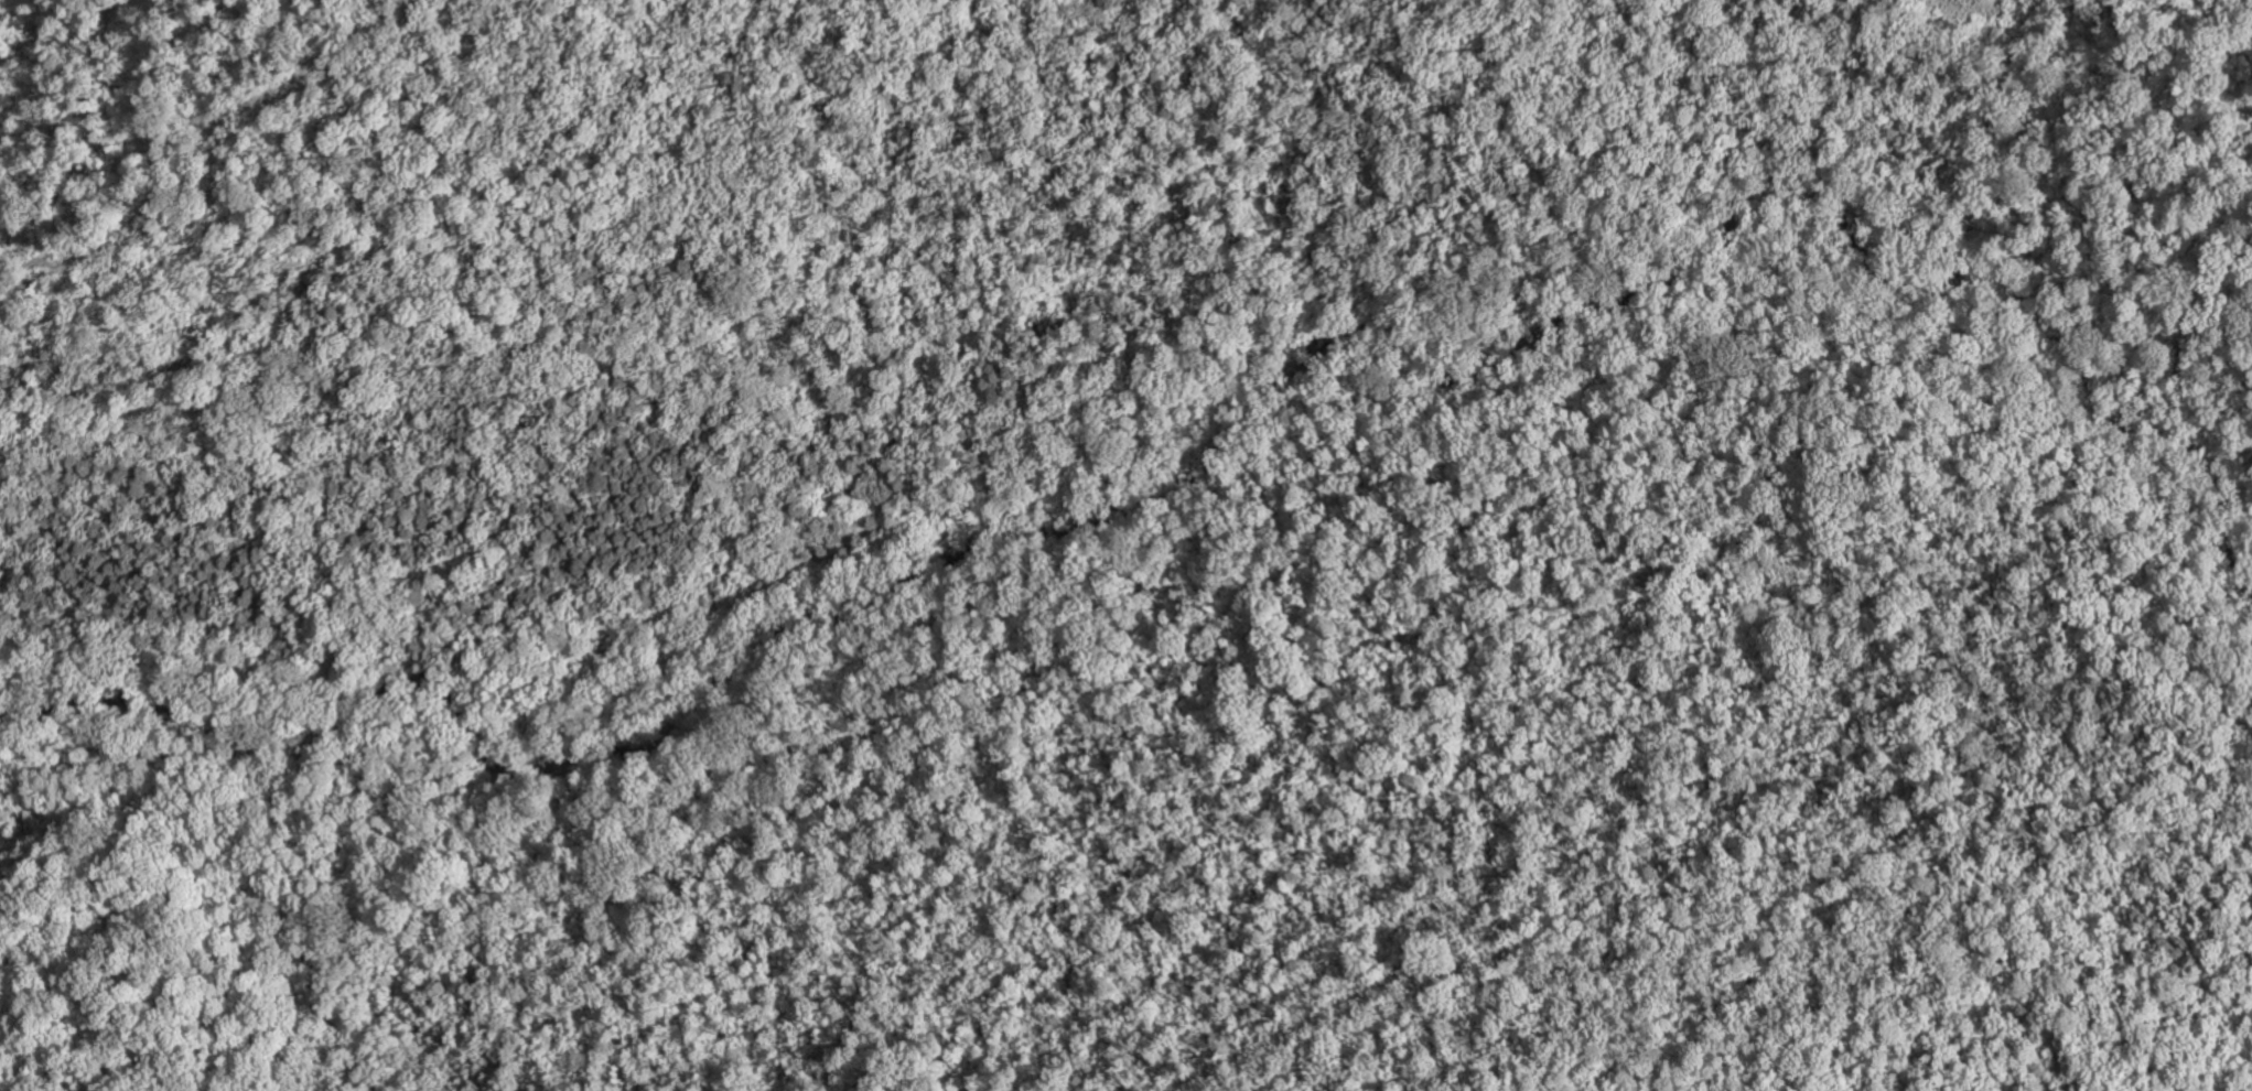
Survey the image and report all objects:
road: (1457, 400)
road: (873, 679)
road: (235, 775)

